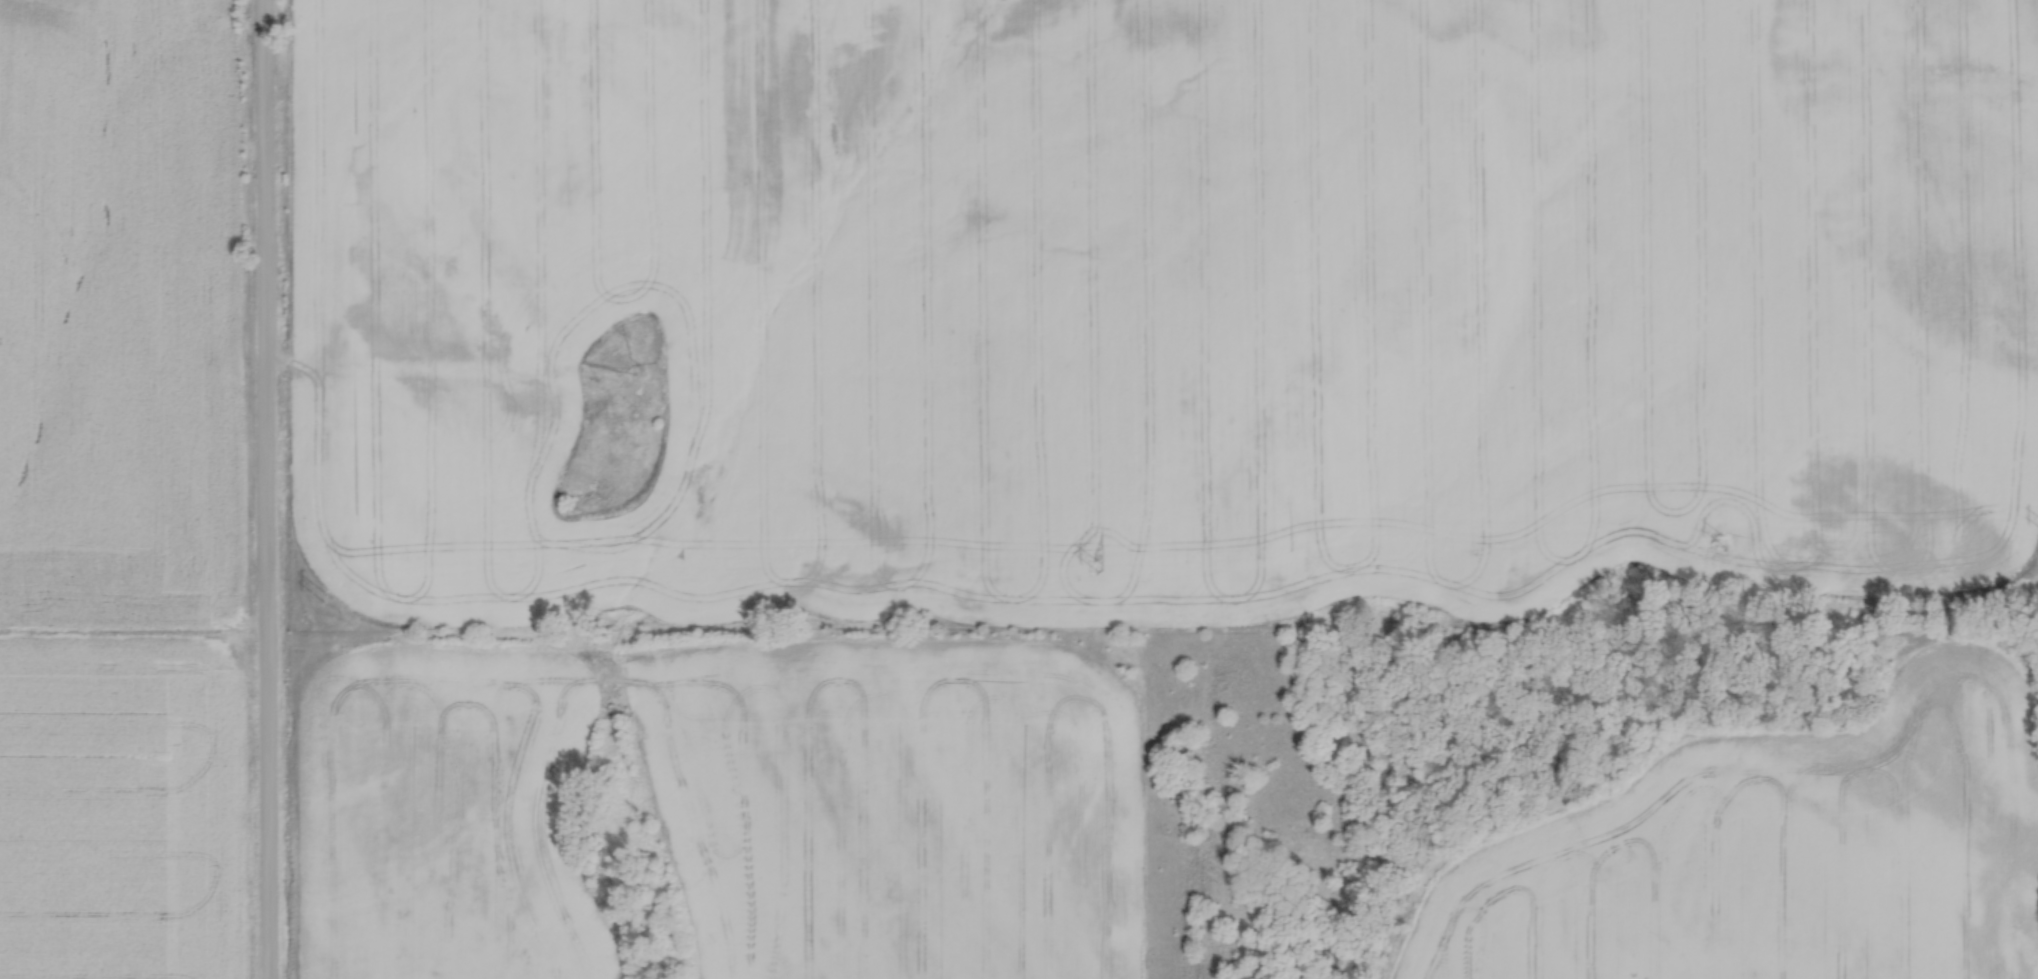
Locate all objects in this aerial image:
road: (264, 489)
power tower: (1722, 536)
power tower: (1097, 561)
power tower: (324, 591)

